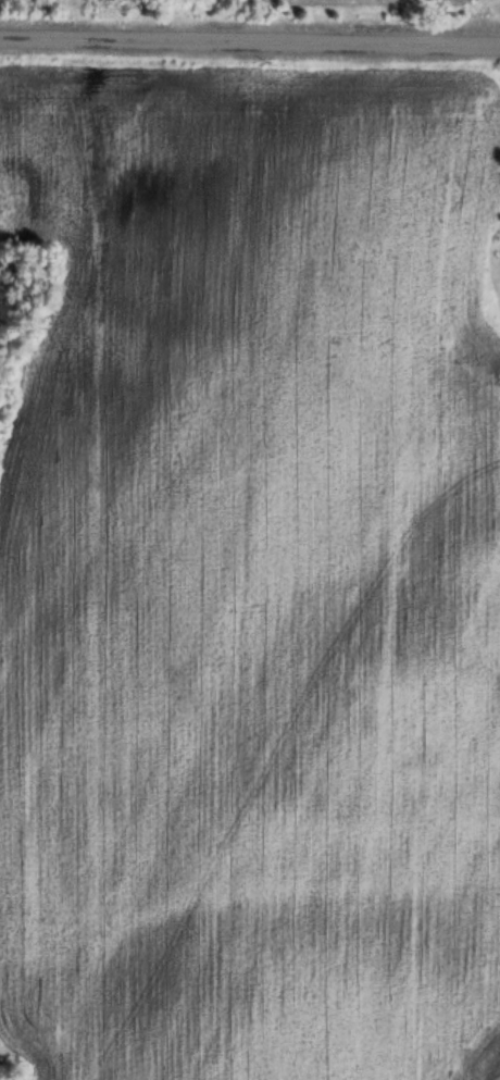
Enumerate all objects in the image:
road: (250, 41)

